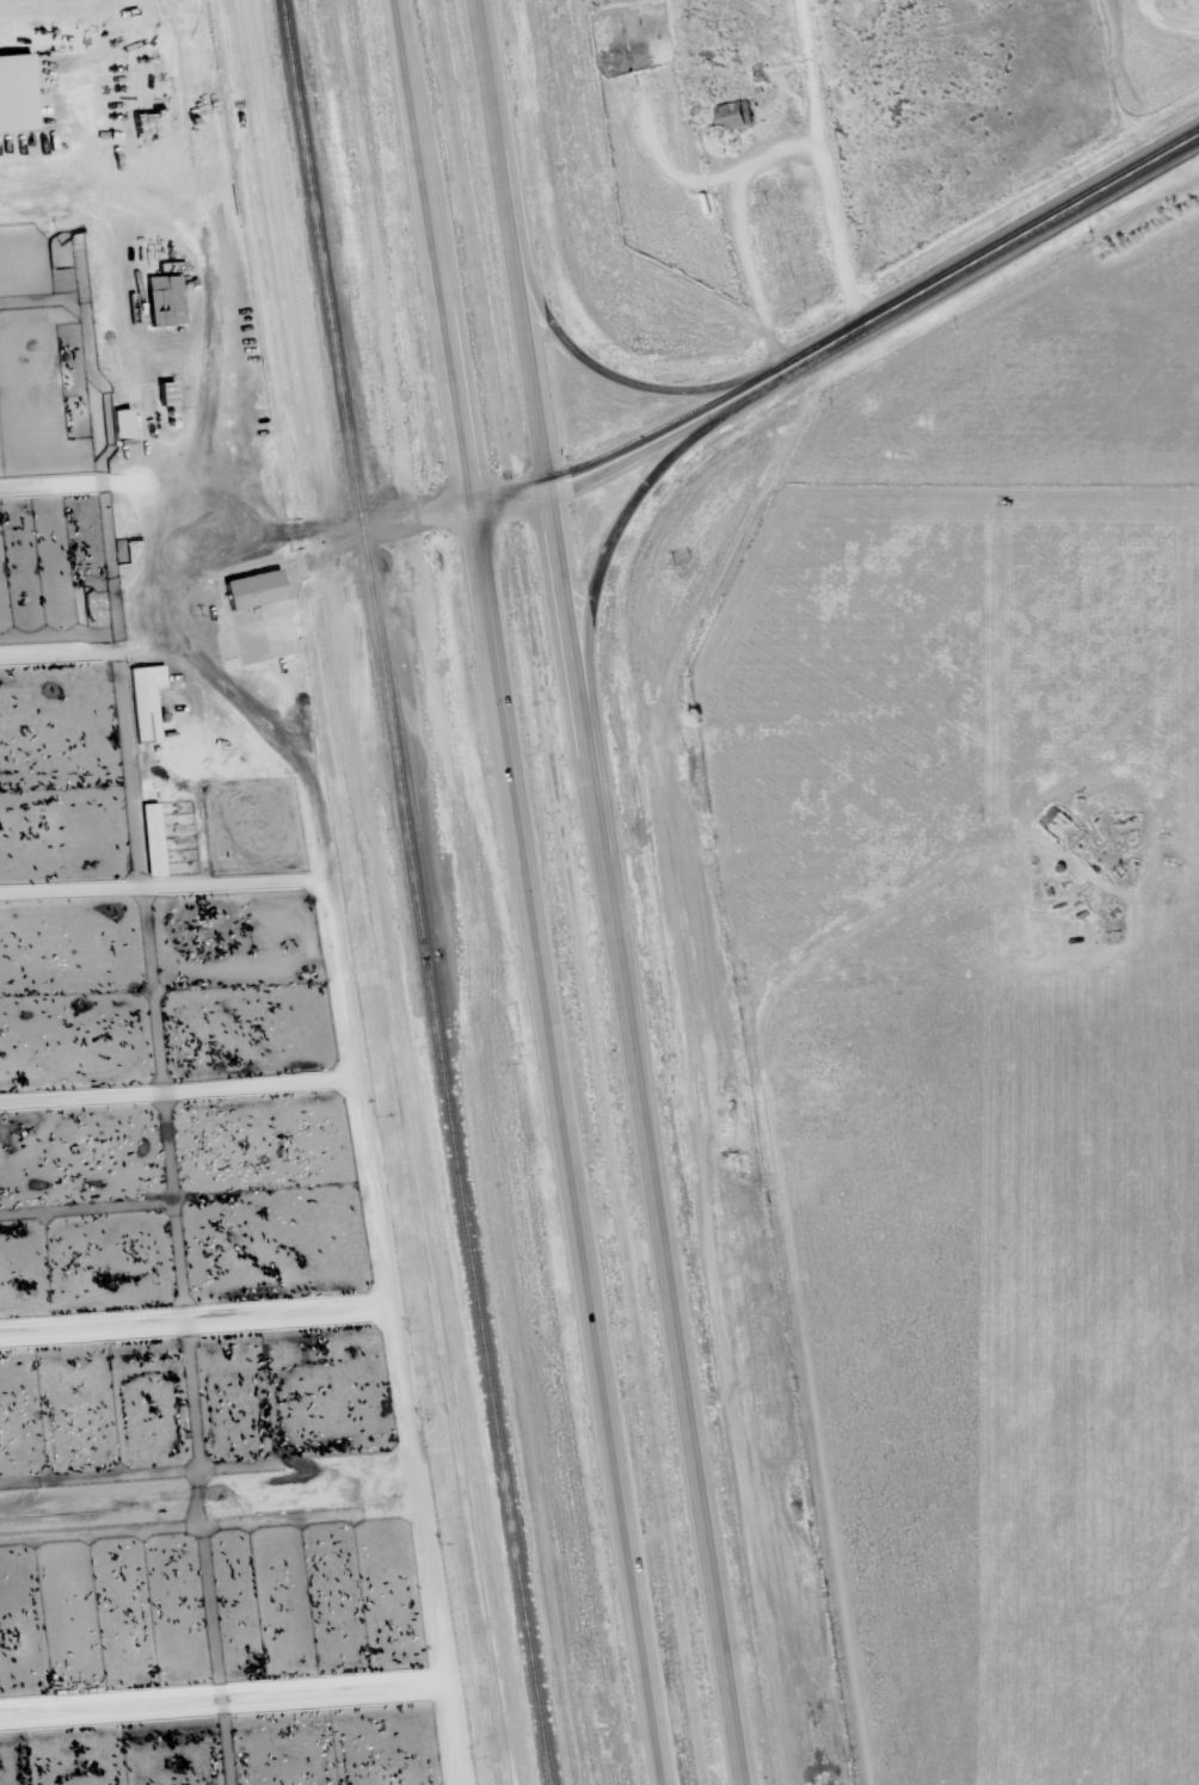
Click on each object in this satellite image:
building: (17, 92)
building: (733, 115)
road: (510, 244)
road: (434, 252)
building: (166, 300)
road: (874, 312)
road: (641, 381)
road: (204, 402)
building: (123, 421)
road: (509, 496)
road: (625, 506)
building: (257, 587)
building: (147, 700)
building: (153, 838)
railway: (414, 892)
road: (639, 1135)
road: (568, 1144)

